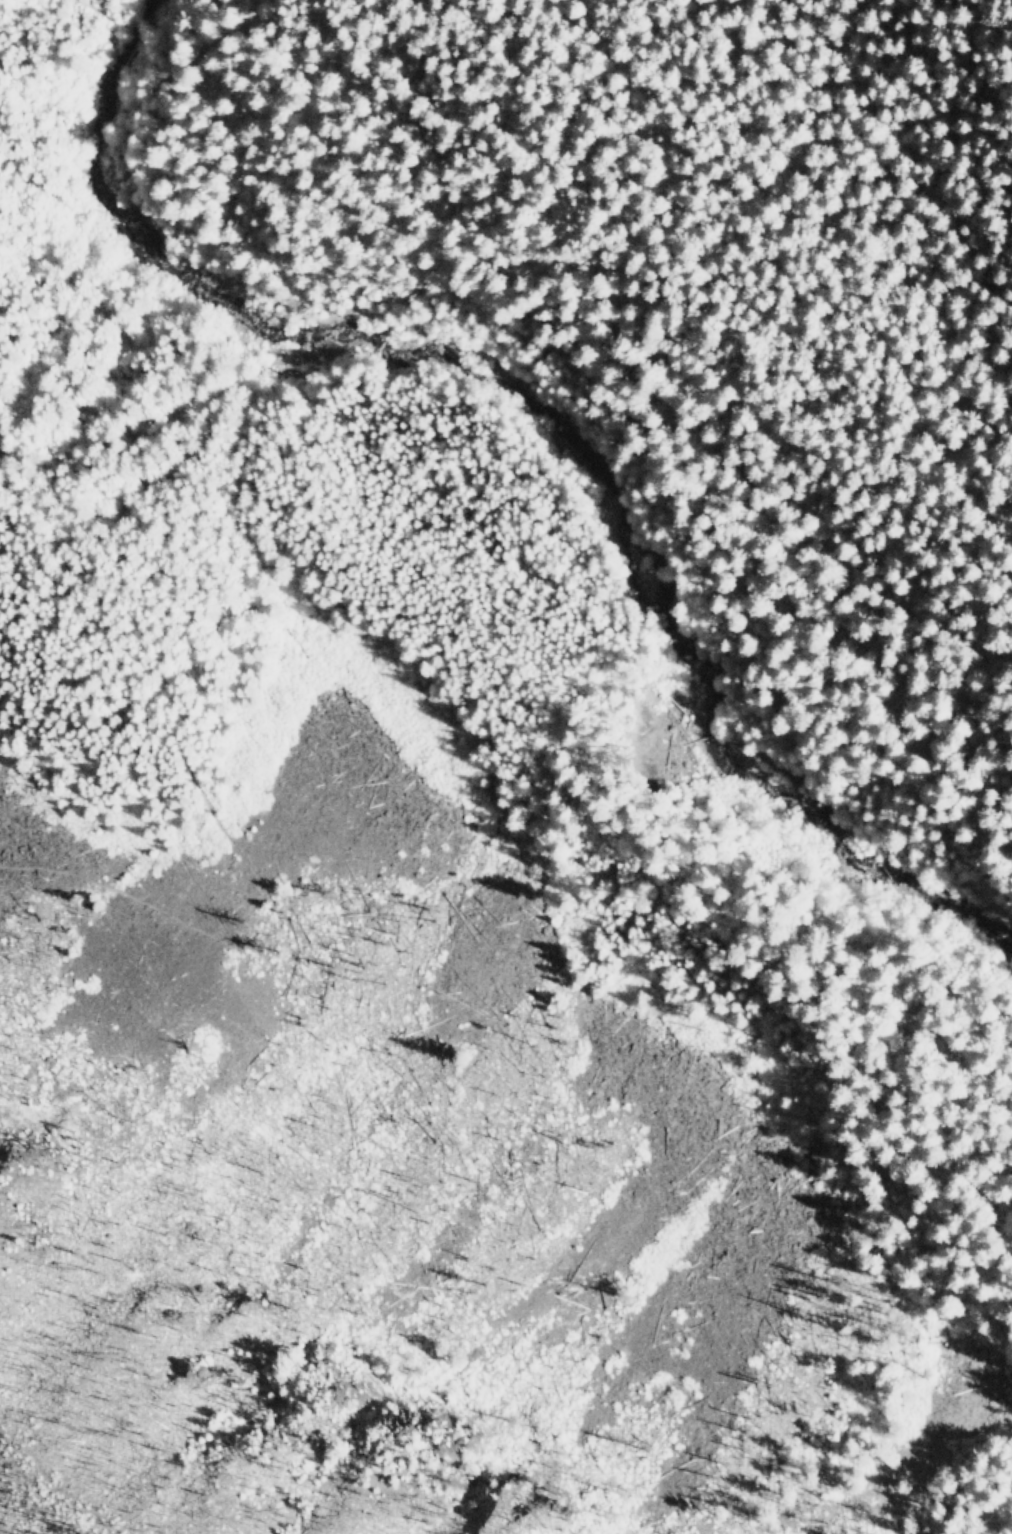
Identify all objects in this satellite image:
road: (272, 898)
road: (55, 1484)

